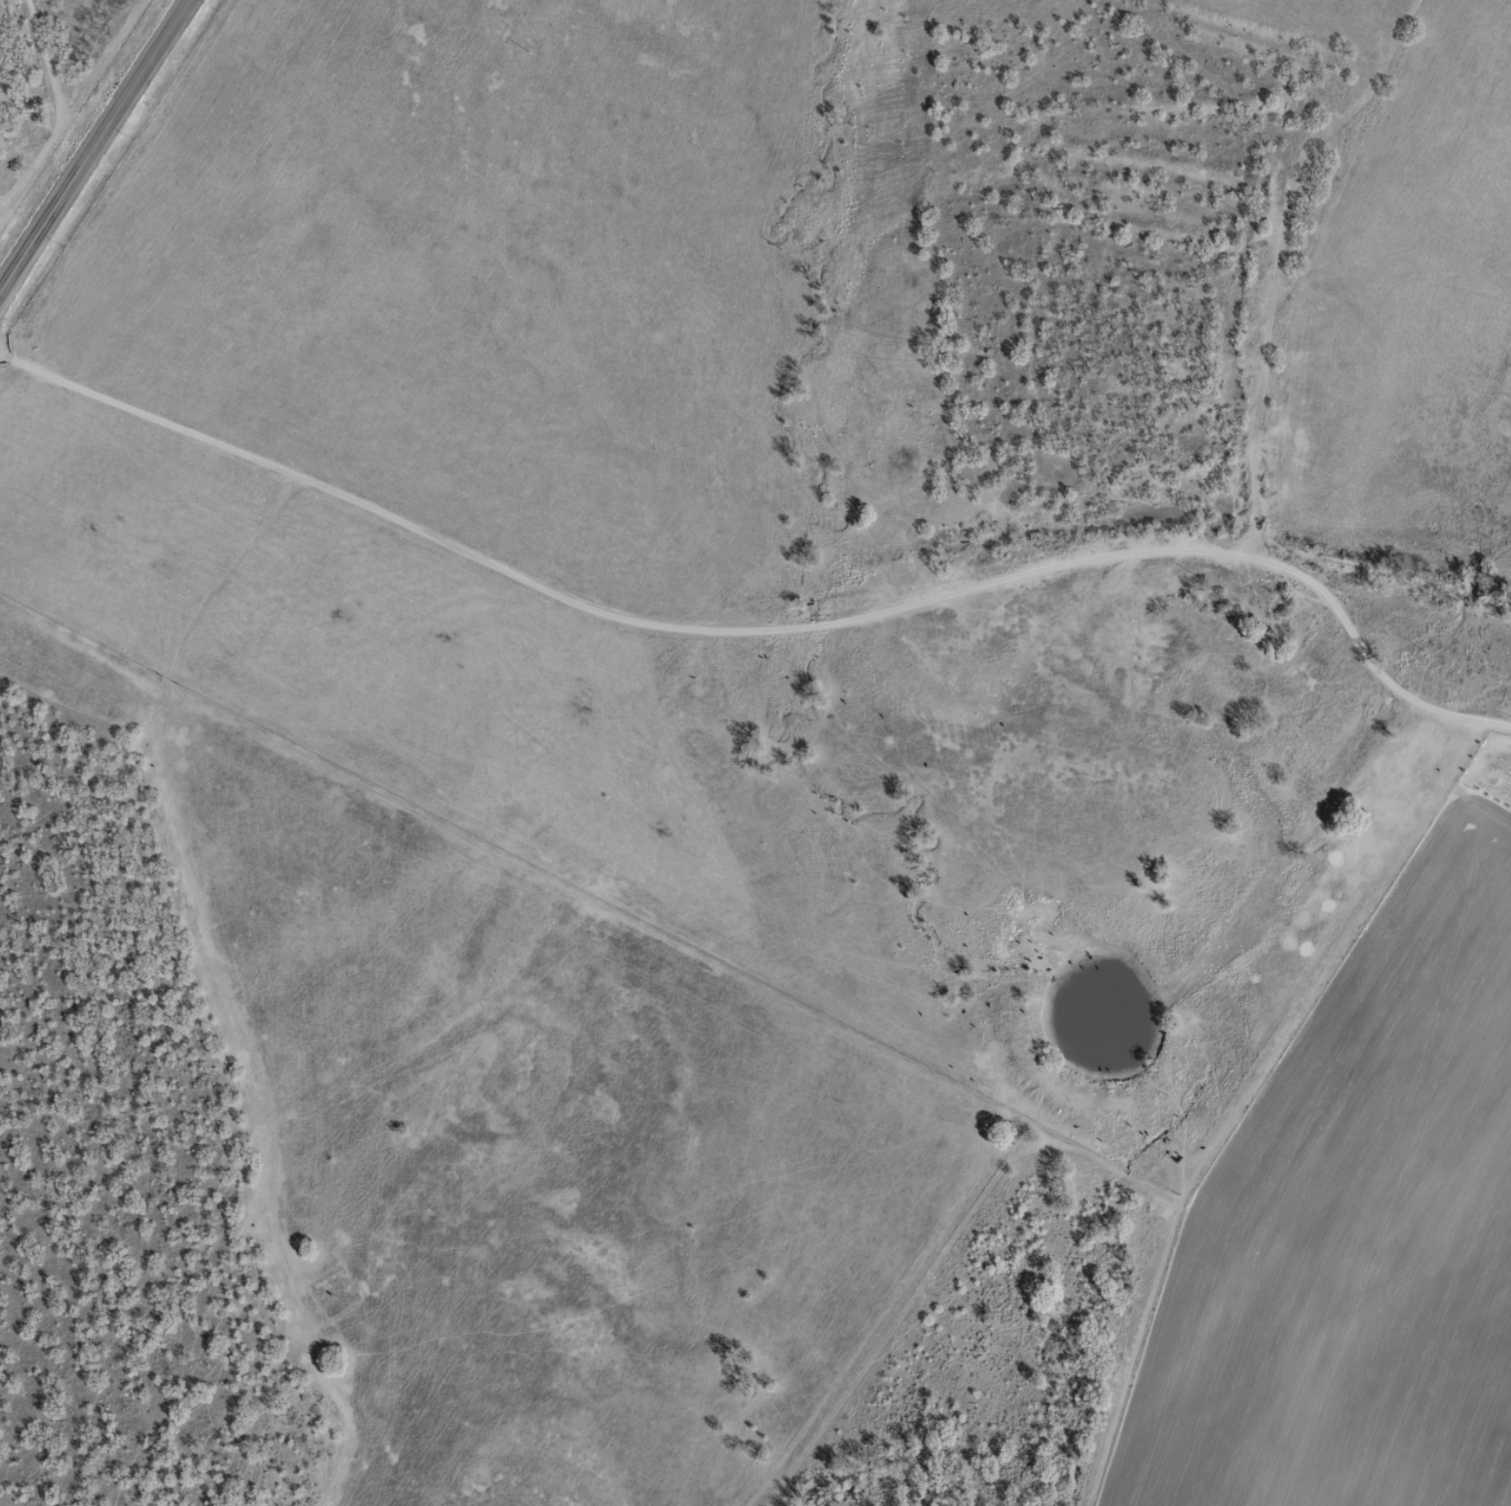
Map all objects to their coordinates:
road: (94, 146)
road: (186, 801)

